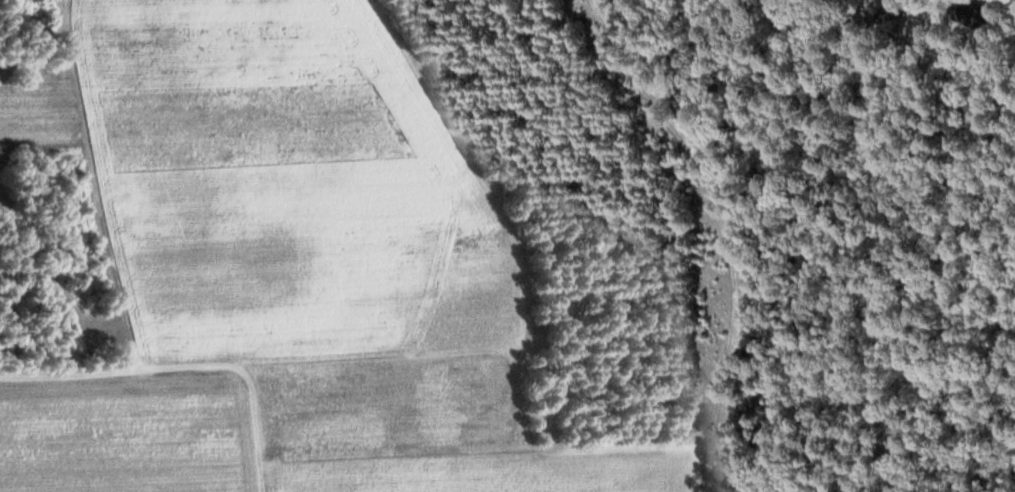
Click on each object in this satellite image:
building: (983, 16)

